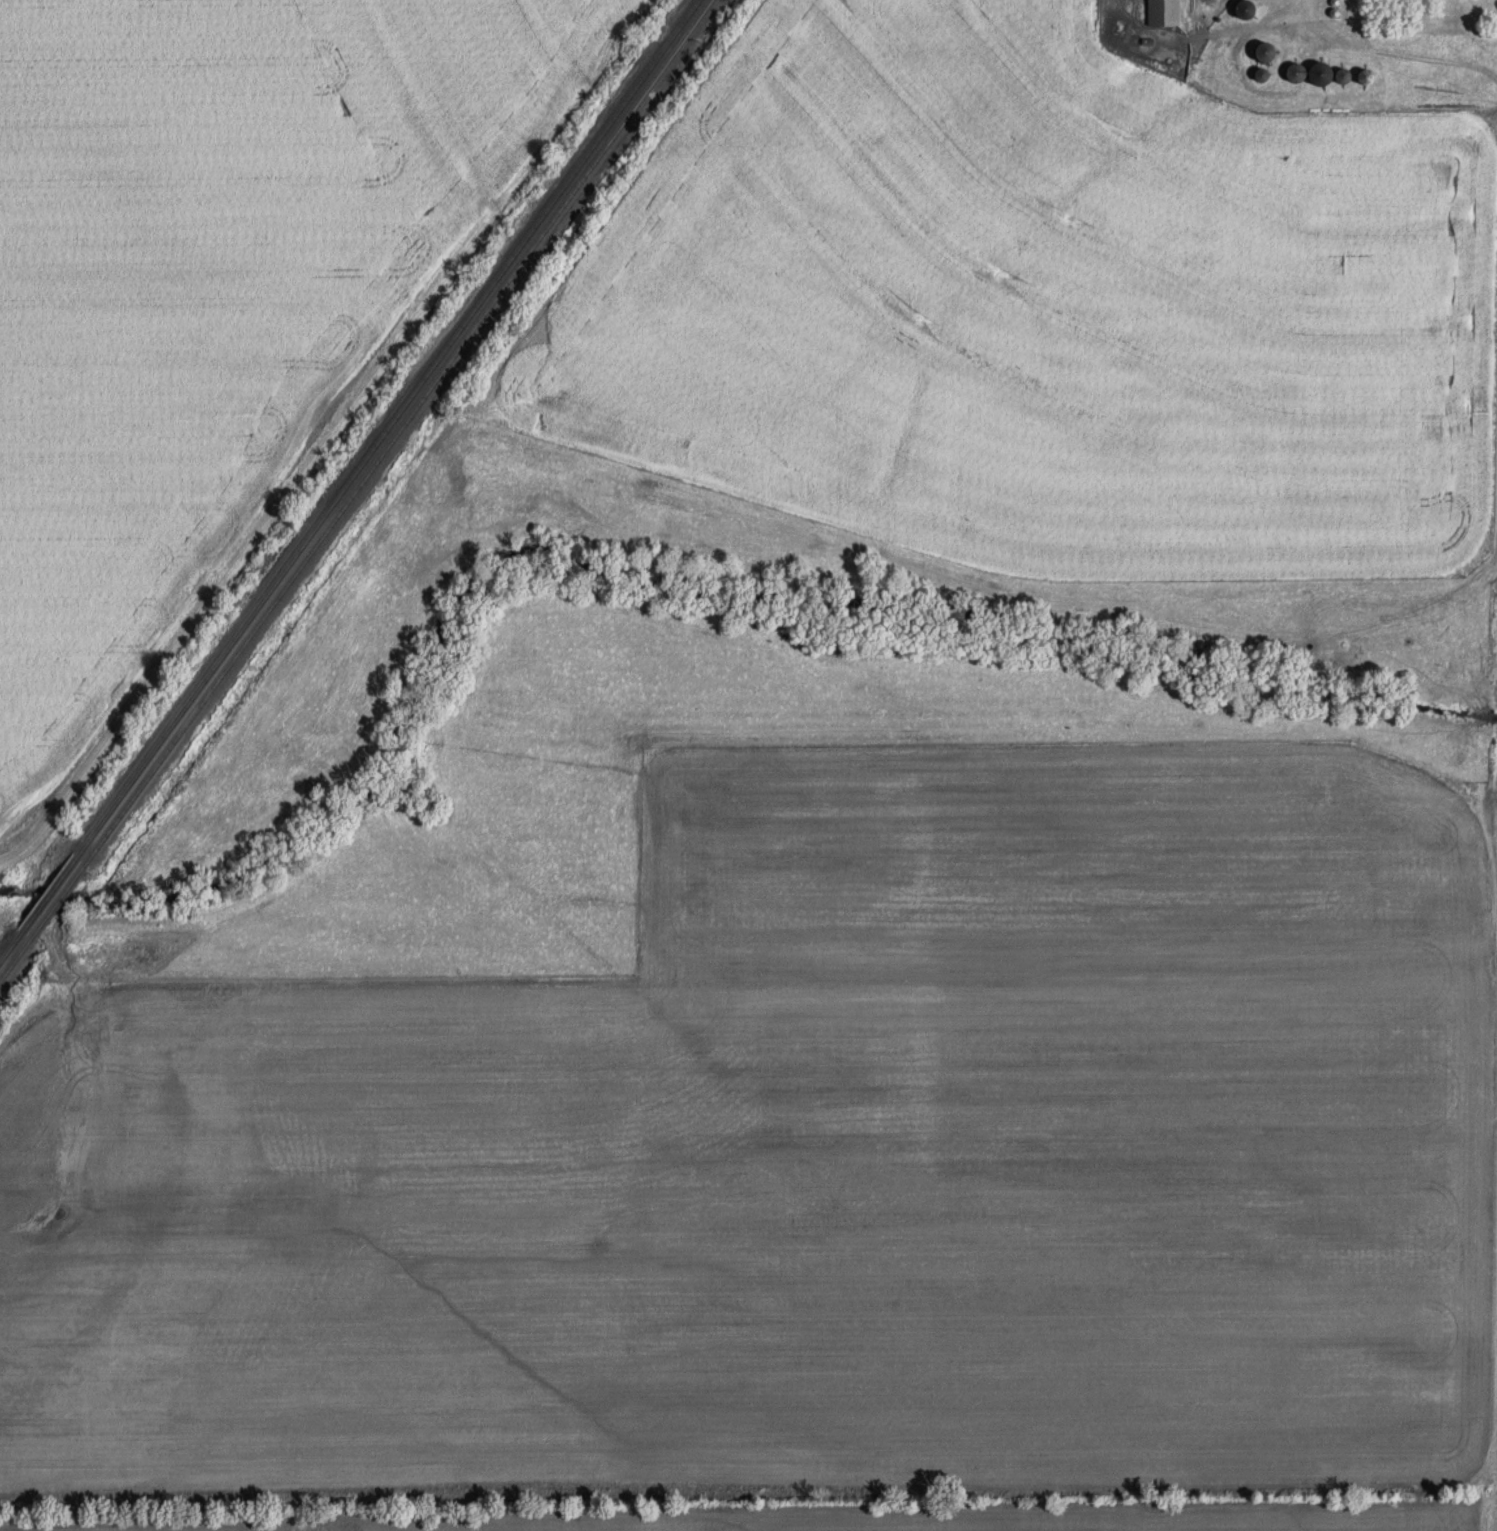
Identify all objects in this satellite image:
building: (1245, 9)
building: (1162, 12)
building: (1266, 52)
building: (1296, 72)
building: (1328, 75)
building: (1366, 77)
railway: (349, 480)
railway: (355, 490)
road: (1483, 869)

